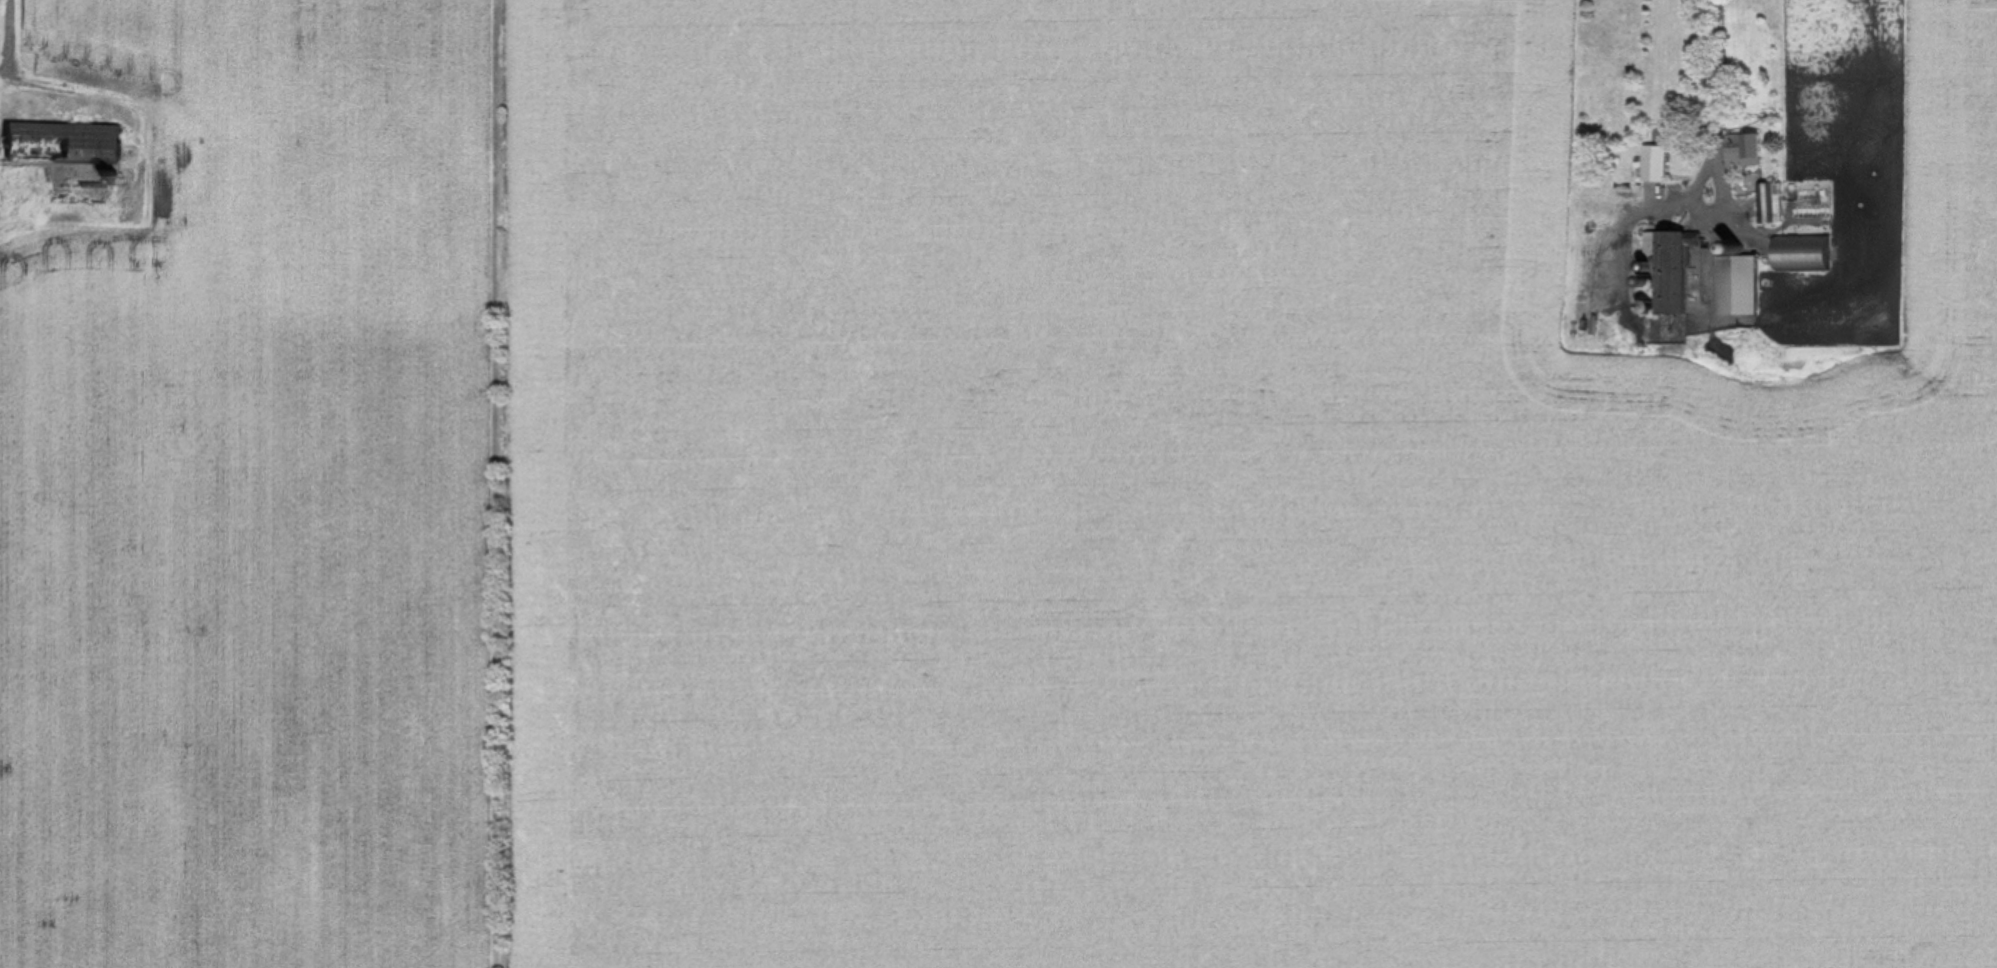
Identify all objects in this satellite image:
road: (9, 32)
building: (61, 142)
building: (1743, 148)
building: (1655, 162)
building: (1770, 202)
building: (1801, 252)
building: (1671, 267)
building: (1736, 284)

